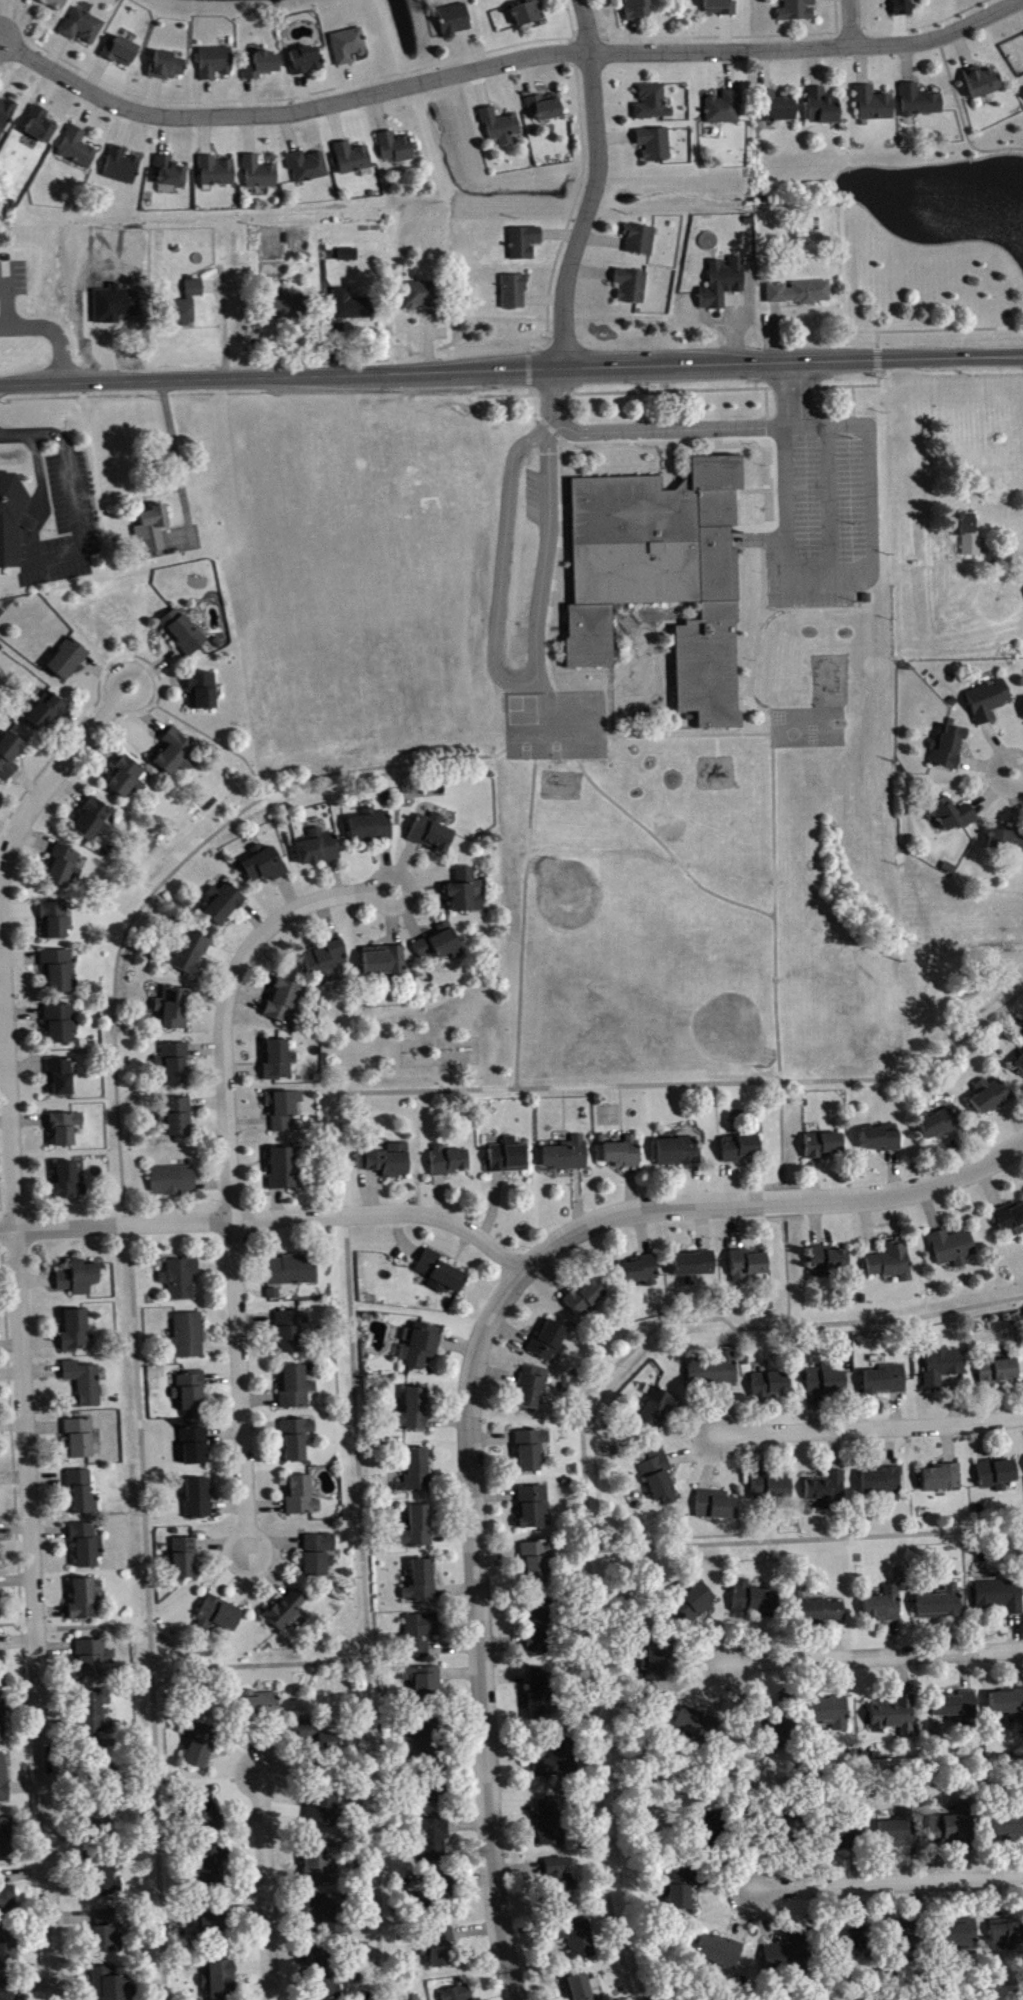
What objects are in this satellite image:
building: (54, 4)
building: (721, 7)
building: (905, 8)
building: (637, 9)
building: (798, 11)
building: (528, 13)
building: (456, 21)
road: (854, 22)
building: (84, 28)
road: (870, 44)
building: (349, 47)
building: (122, 53)
building: (307, 61)
building: (217, 64)
building: (264, 66)
building: (169, 67)
building: (984, 83)
road: (351, 101)
building: (921, 102)
building: (653, 104)
building: (875, 106)
building: (547, 108)
building: (778, 108)
building: (823, 108)
building: (725, 109)
building: (6, 116)
road: (960, 117)
building: (42, 127)
building: (502, 127)
building: (656, 145)
building: (397, 148)
building: (78, 149)
building: (353, 159)
building: (123, 167)
building: (309, 167)
building: (172, 173)
building: (218, 173)
building: (261, 175)
road: (596, 184)
building: (641, 241)
building: (525, 244)
building: (349, 256)
parking lot: (13, 275)
building: (724, 284)
building: (633, 287)
building: (515, 293)
building: (801, 294)
road: (6, 297)
building: (424, 298)
building: (187, 306)
building: (352, 307)
building: (288, 309)
road: (546, 326)
road: (949, 327)
road: (53, 328)
road: (554, 333)
road: (876, 337)
road: (877, 357)
road: (526, 365)
road: (511, 369)
road: (701, 388)
road: (793, 393)
road: (556, 395)
road: (852, 399)
road: (523, 403)
road: (764, 414)
road: (667, 430)
road: (38, 434)
road: (598, 441)
road: (32, 446)
road: (175, 459)
road: (667, 464)
road: (40, 488)
road: (749, 489)
road: (828, 501)
road: (563, 508)
road: (735, 508)
parking lot: (822, 510)
building: (10, 516)
road: (27, 522)
parking lot: (63, 522)
road: (75, 523)
building: (148, 524)
building: (968, 534)
road: (28, 544)
road: (504, 548)
road: (1008, 554)
building: (135, 556)
road: (548, 559)
building: (658, 572)
road: (855, 577)
road: (816, 605)
road: (760, 615)
building: (184, 633)
road: (555, 633)
road: (638, 650)
building: (68, 660)
building: (204, 692)
road: (579, 692)
building: (989, 702)
road: (752, 705)
building: (47, 712)
road: (603, 715)
road: (771, 728)
road: (696, 729)
road: (711, 729)
road: (203, 733)
road: (687, 733)
road: (716, 743)
building: (950, 749)
building: (176, 754)
building: (10, 756)
road: (557, 756)
road: (458, 757)
road: (1019, 765)
road: (1019, 771)
building: (128, 779)
road: (1019, 782)
building: (952, 816)
building: (94, 822)
building: (372, 826)
building: (433, 834)
building: (1007, 841)
road: (665, 848)
building: (319, 849)
building: (264, 867)
building: (64, 868)
building: (468, 893)
building: (223, 905)
park: (585, 911)
road: (522, 921)
building: (56, 922)
building: (441, 945)
building: (192, 955)
building: (326, 960)
building: (388, 964)
road: (773, 965)
building: (59, 972)
building: (285, 1003)
building: (175, 1009)
park: (698, 1010)
building: (61, 1025)
park: (434, 1047)
building: (280, 1061)
building: (177, 1065)
building: (1020, 1066)
building: (62, 1077)
building: (991, 1098)
building: (285, 1110)
building: (180, 1118)
building: (941, 1126)
building: (66, 1129)
building: (882, 1140)
building: (824, 1146)
building: (740, 1150)
building: (679, 1153)
building: (624, 1154)
building: (568, 1156)
building: (509, 1158)
building: (388, 1162)
building: (450, 1162)
road: (232, 1166)
building: (285, 1170)
building: (174, 1182)
building: (69, 1183)
road: (349, 1191)
road: (772, 1203)
road: (270, 1219)
building: (1010, 1221)
building: (954, 1249)
building: (829, 1262)
building: (892, 1263)
building: (695, 1267)
building: (748, 1267)
building: (292, 1272)
building: (642, 1273)
building: (441, 1274)
road: (792, 1275)
building: (182, 1279)
building: (79, 1280)
road: (131, 1289)
building: (275, 1295)
building: (587, 1299)
road: (907, 1320)
road: (23, 1324)
building: (292, 1332)
building: (76, 1333)
building: (190, 1337)
building: (551, 1342)
building: (423, 1346)
building: (944, 1368)
building: (715, 1371)
building: (1000, 1372)
building: (887, 1381)
building: (85, 1384)
building: (772, 1385)
building: (296, 1389)
building: (532, 1390)
building: (192, 1391)
building: (659, 1410)
building: (415, 1411)
road: (871, 1427)
building: (82, 1439)
building: (298, 1440)
building: (196, 1448)
building: (532, 1451)
building: (419, 1471)
building: (998, 1475)
building: (660, 1479)
building: (943, 1479)
building: (883, 1483)
building: (772, 1489)
building: (83, 1495)
building: (302, 1497)
building: (199, 1499)
building: (717, 1507)
building: (534, 1508)
building: (419, 1529)
road: (808, 1541)
building: (87, 1546)
building: (319, 1556)
building: (186, 1560)
building: (540, 1562)
road: (595, 1582)
building: (422, 1583)
building: (1001, 1597)
building: (755, 1599)
building: (86, 1600)
building: (695, 1604)
building: (942, 1605)
building: (886, 1607)
building: (0, 1609)
building: (288, 1612)
building: (821, 1613)
building: (221, 1616)
road: (94, 1626)
building: (540, 1627)
road: (483, 1630)
building: (421, 1636)
road: (174, 1647)
road: (875, 1655)
building: (95, 1659)
road: (259, 1665)
building: (2, 1669)
building: (424, 1684)
building: (541, 1696)
building: (1007, 1704)
building: (259, 1707)
building: (957, 1707)
building: (829, 1714)
building: (97, 1715)
building: (896, 1717)
building: (3, 1723)
building: (696, 1727)
building: (777, 1734)
building: (322, 1738)
building: (424, 1739)
building: (200, 1747)
building: (557, 1762)
road: (812, 1770)
building: (4, 1781)
building: (435, 1790)
building: (327, 1804)
building: (203, 1810)
building: (99, 1822)
building: (553, 1823)
building: (1007, 1827)
building: (952, 1829)
building: (899, 1832)
building: (709, 1834)
building: (840, 1840)
building: (6, 1841)
building: (436, 1841)
building: (212, 1866)
building: (322, 1866)
building: (107, 1882)
building: (559, 1883)
road: (889, 1883)
road: (268, 1885)
building: (443, 1890)
building: (682, 1892)
building: (7, 1902)
building: (328, 1916)
building: (212, 1923)
building: (107, 1934)
building: (960, 1936)
building: (1007, 1936)
building: (908, 1939)
building: (577, 1940)
building: (854, 1941)
building: (442, 1949)
building: (7, 1951)
building: (719, 1954)
building: (792, 1955)
building: (221, 1981)
building: (110, 1985)
building: (579, 1989)
building: (459, 1994)
road: (831, 1994)
building: (7, 1995)

